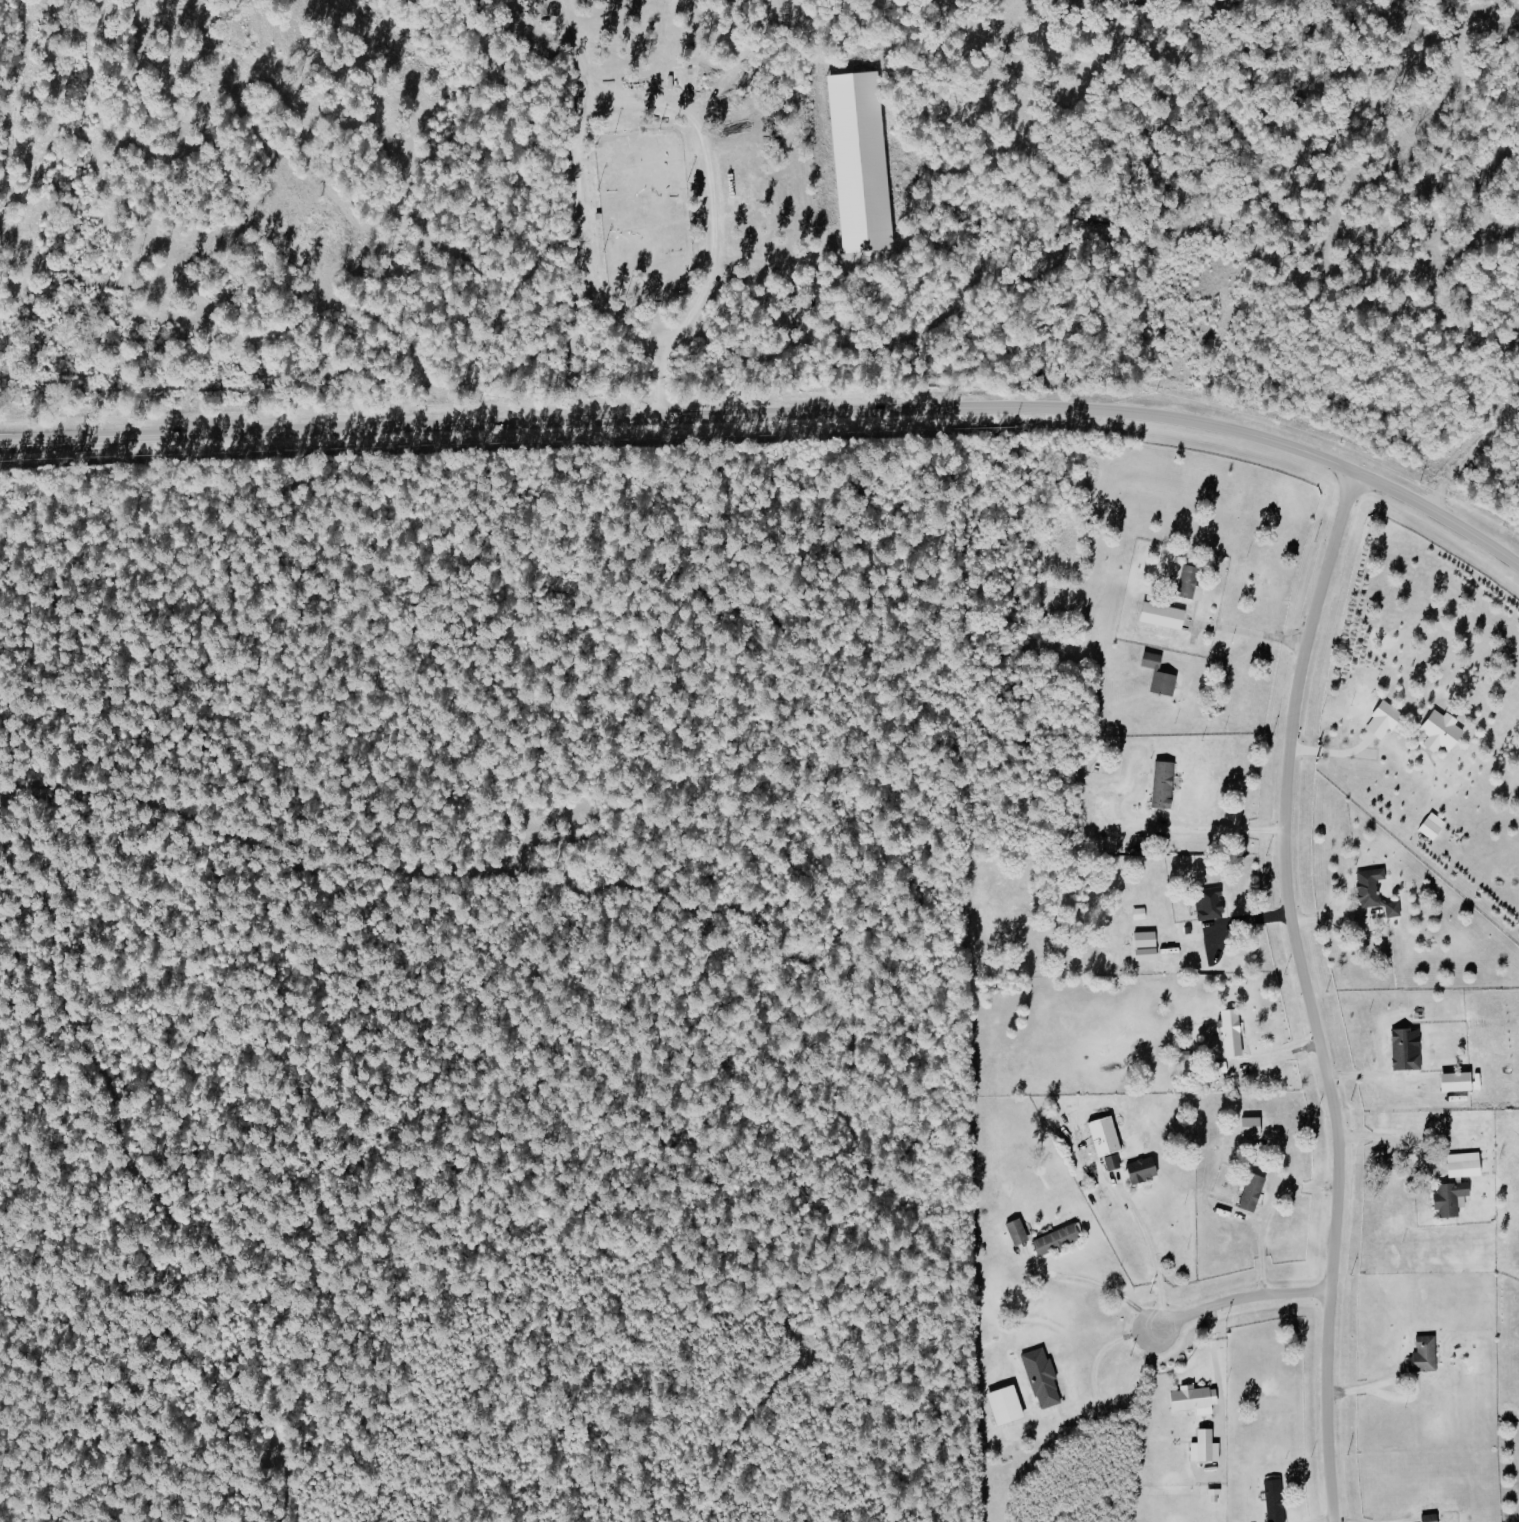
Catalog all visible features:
road: (578, 52)
road: (674, 108)
building: (855, 161)
road: (778, 411)
building: (1181, 581)
building: (1158, 616)
road: (1250, 632)
building: (1148, 661)
building: (1160, 684)
building: (1380, 721)
building: (1438, 731)
building: (1160, 785)
building: (1429, 827)
road: (1224, 835)
building: (1372, 892)
building: (1207, 905)
building: (1141, 947)
road: (1307, 993)
building: (1229, 1034)
building: (1402, 1051)
building: (1452, 1083)
building: (1247, 1127)
building: (1109, 1163)
building: (1461, 1166)
building: (1138, 1171)
building: (1249, 1192)
building: (1448, 1199)
road: (1263, 1215)
building: (1014, 1231)
building: (1053, 1240)
road: (1155, 1253)
road: (1095, 1285)
road: (1237, 1297)
building: (1421, 1355)
building: (1039, 1378)
building: (1191, 1400)
road: (1092, 1402)
building: (1003, 1405)
building: (1203, 1446)
building: (1271, 1500)
building: (1427, 1518)

